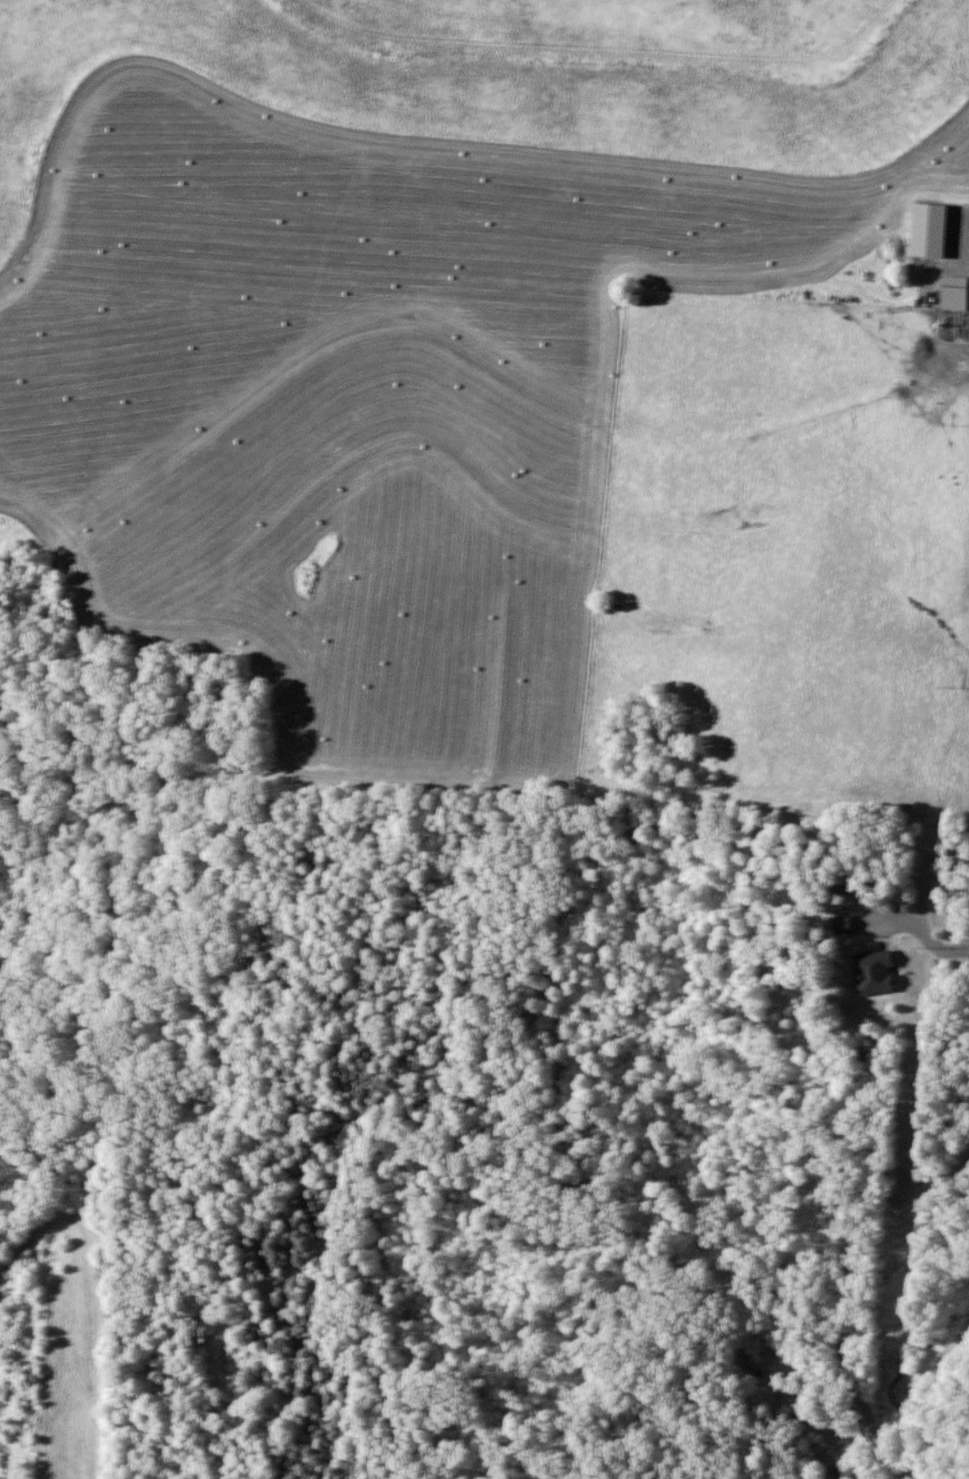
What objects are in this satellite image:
building: (840, 925)
building: (873, 973)
road: (850, 1291)
road: (927, 1397)

